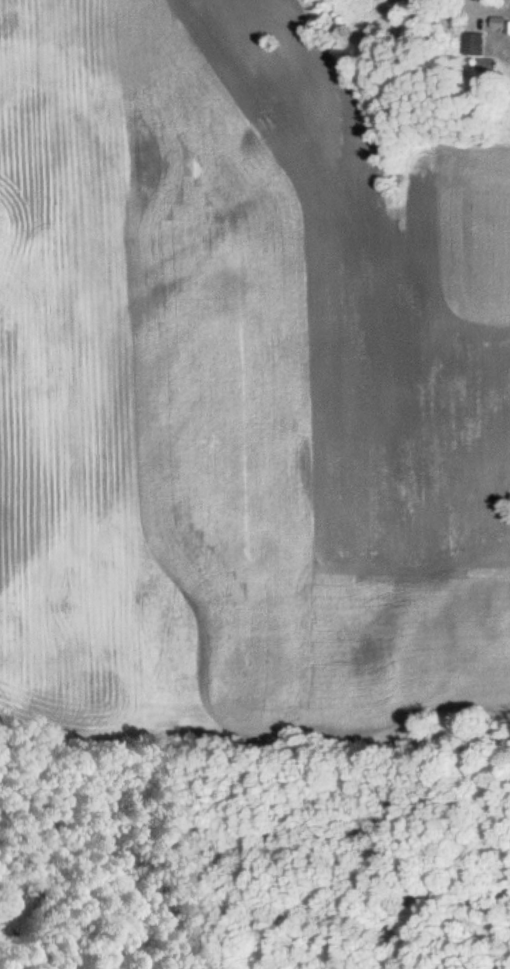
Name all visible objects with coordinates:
building: (473, 44)

